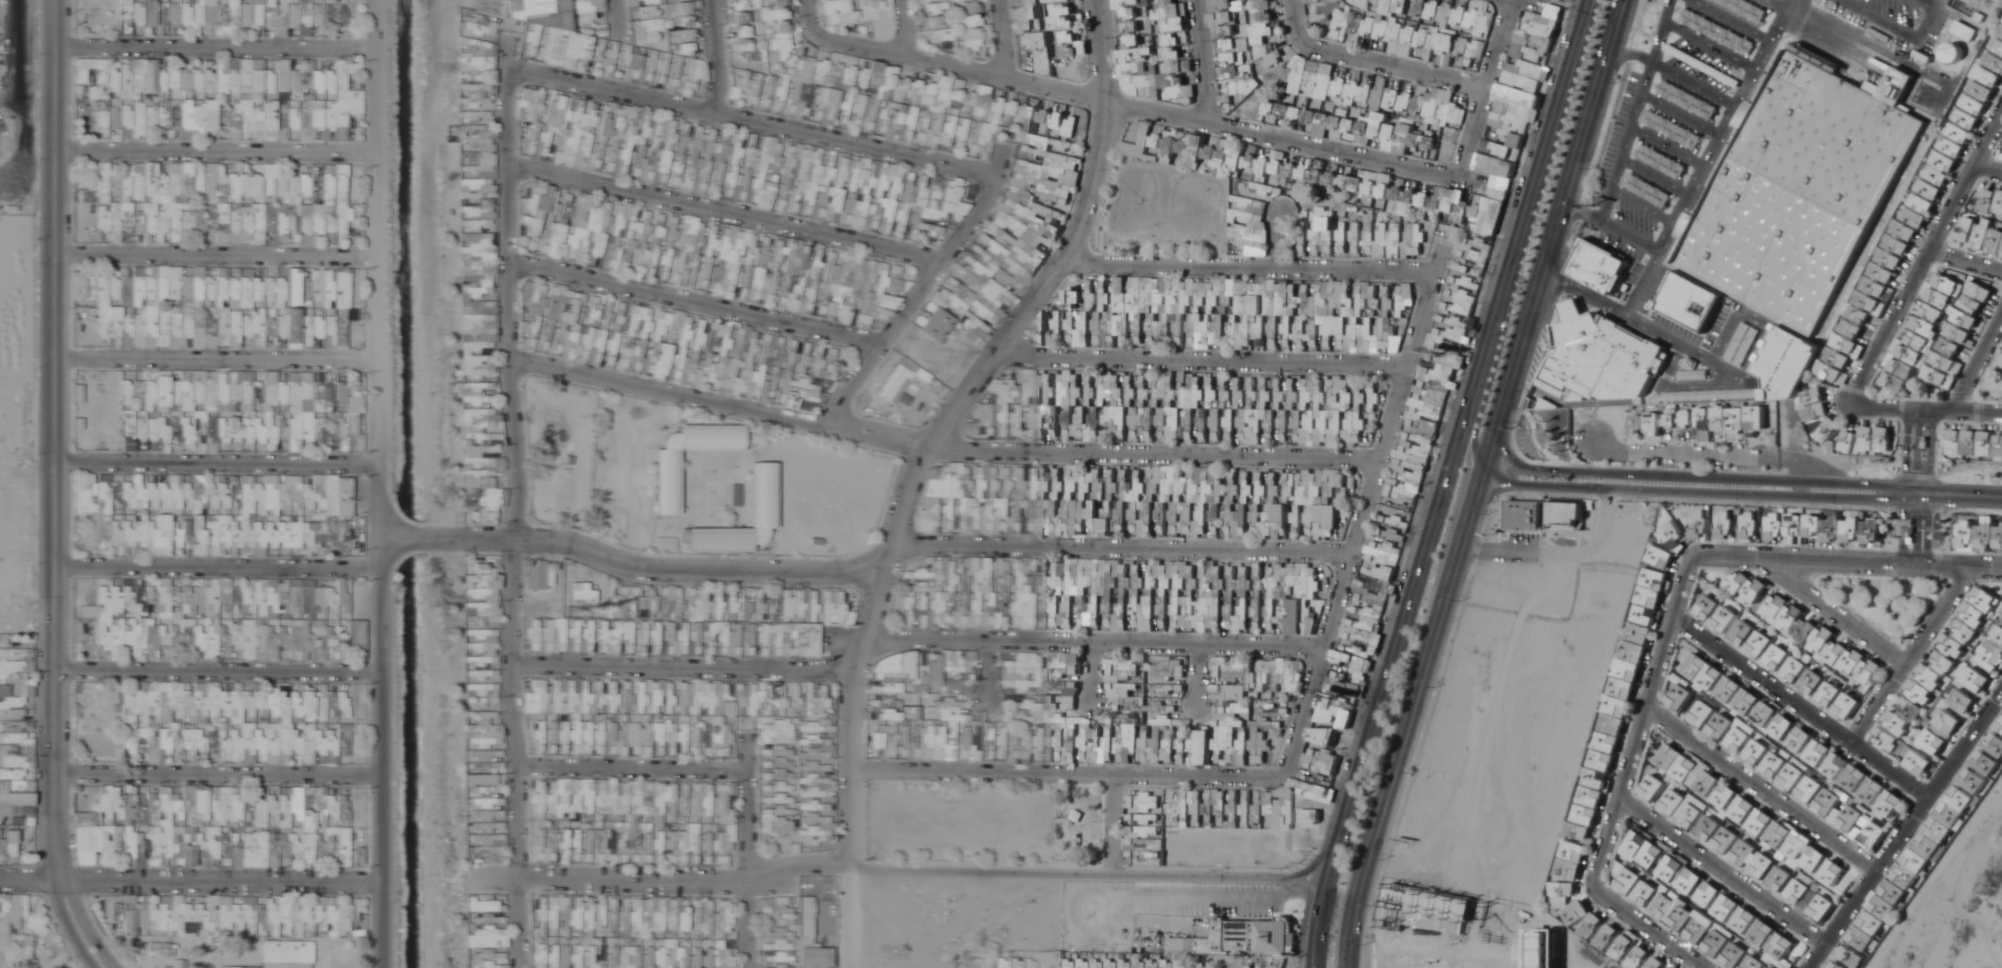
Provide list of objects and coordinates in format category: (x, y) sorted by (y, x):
park: (1878, 596)

